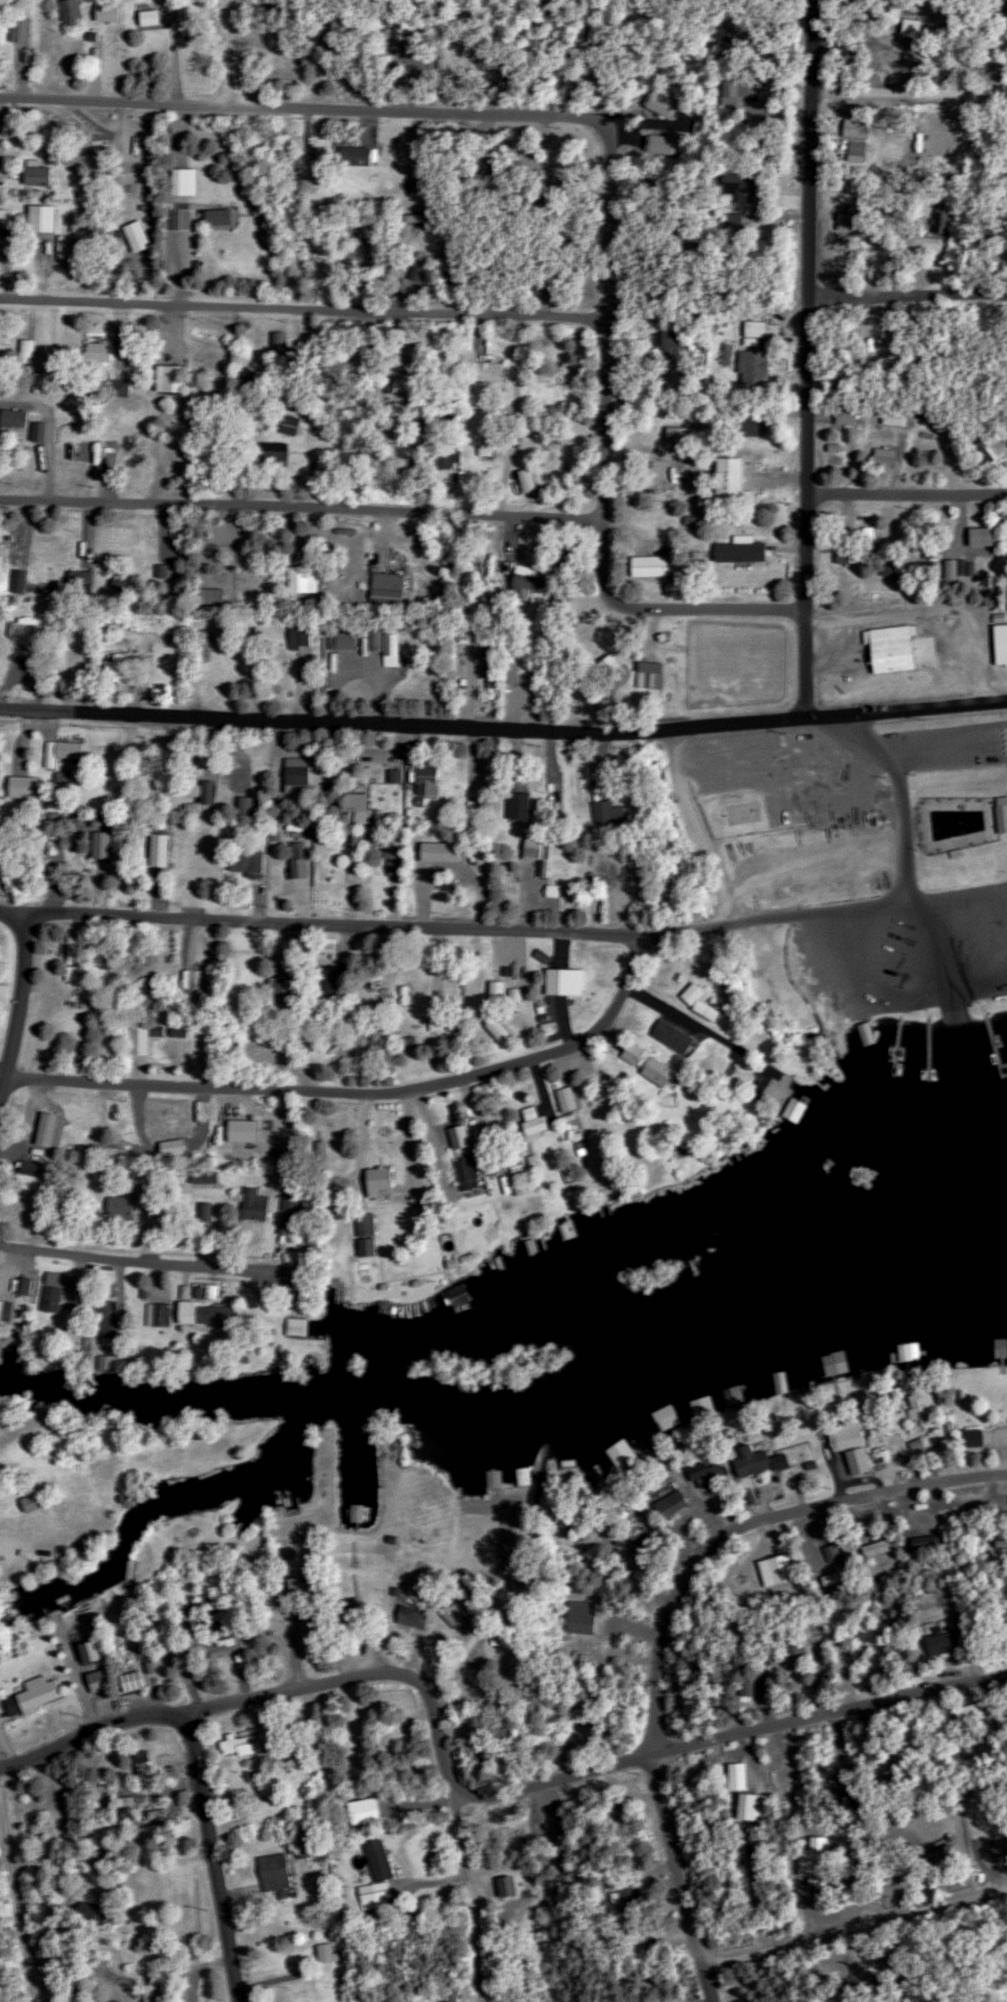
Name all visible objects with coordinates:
building: (73, 12)
building: (111, 13)
road: (234, 50)
building: (723, 92)
road: (907, 93)
road: (323, 104)
building: (356, 155)
building: (323, 171)
building: (42, 176)
building: (188, 182)
building: (419, 186)
building: (732, 188)
building: (179, 217)
building: (223, 218)
building: (6, 219)
building: (45, 219)
building: (938, 224)
building: (139, 237)
road: (324, 290)
road: (908, 297)
building: (663, 340)
building: (28, 352)
building: (99, 353)
road: (808, 357)
building: (747, 368)
building: (490, 372)
building: (174, 379)
building: (408, 385)
building: (890, 416)
building: (840, 417)
building: (16, 421)
road: (649, 422)
building: (740, 425)
building: (293, 427)
building: (677, 438)
building: (273, 454)
building: (81, 457)
building: (455, 458)
building: (725, 477)
road: (907, 493)
road: (319, 518)
building: (976, 536)
building: (739, 553)
building: (654, 566)
building: (531, 579)
building: (310, 580)
building: (393, 591)
building: (303, 637)
building: (997, 644)
building: (397, 645)
building: (889, 650)
building: (33, 663)
building: (124, 668)
building: (617, 670)
building: (652, 680)
building: (531, 681)
road: (503, 717)
building: (65, 752)
building: (302, 776)
building: (431, 782)
road: (903, 797)
building: (250, 806)
building: (526, 807)
building: (605, 813)
building: (999, 814)
road: (693, 823)
building: (544, 854)
building: (249, 863)
road: (815, 870)
road: (20, 917)
road: (431, 930)
building: (332, 978)
road: (861, 979)
building: (569, 982)
building: (282, 986)
building: (687, 993)
road: (948, 995)
road: (20, 1003)
building: (160, 1030)
building: (861, 1033)
building: (665, 1034)
building: (627, 1052)
building: (649, 1070)
road: (0, 1082)
road: (358, 1089)
building: (561, 1098)
building: (788, 1110)
building: (529, 1122)
building: (245, 1129)
building: (466, 1169)
building: (372, 1182)
building: (291, 1199)
building: (149, 1200)
building: (122, 1205)
building: (255, 1205)
building: (360, 1224)
road: (146, 1264)
building: (55, 1299)
building: (212, 1313)
building: (168, 1314)
building: (117, 1321)
building: (303, 1327)
building: (995, 1348)
building: (829, 1363)
building: (917, 1403)
building: (842, 1436)
building: (968, 1438)
building: (745, 1461)
building: (702, 1472)
building: (487, 1479)
building: (38, 1503)
building: (664, 1503)
building: (363, 1513)
building: (769, 1569)
building: (310, 1587)
building: (451, 1613)
road: (672, 1625)
building: (933, 1643)
building: (791, 1650)
road: (362, 1678)
building: (32, 1696)
building: (965, 1713)
road: (827, 1721)
building: (247, 1746)
building: (739, 1776)
building: (747, 1807)
road: (210, 1855)
building: (806, 1863)
building: (278, 1872)
building: (382, 1873)
road: (468, 1897)
road: (18, 1909)
road: (854, 1923)
building: (630, 1941)
building: (332, 1952)

